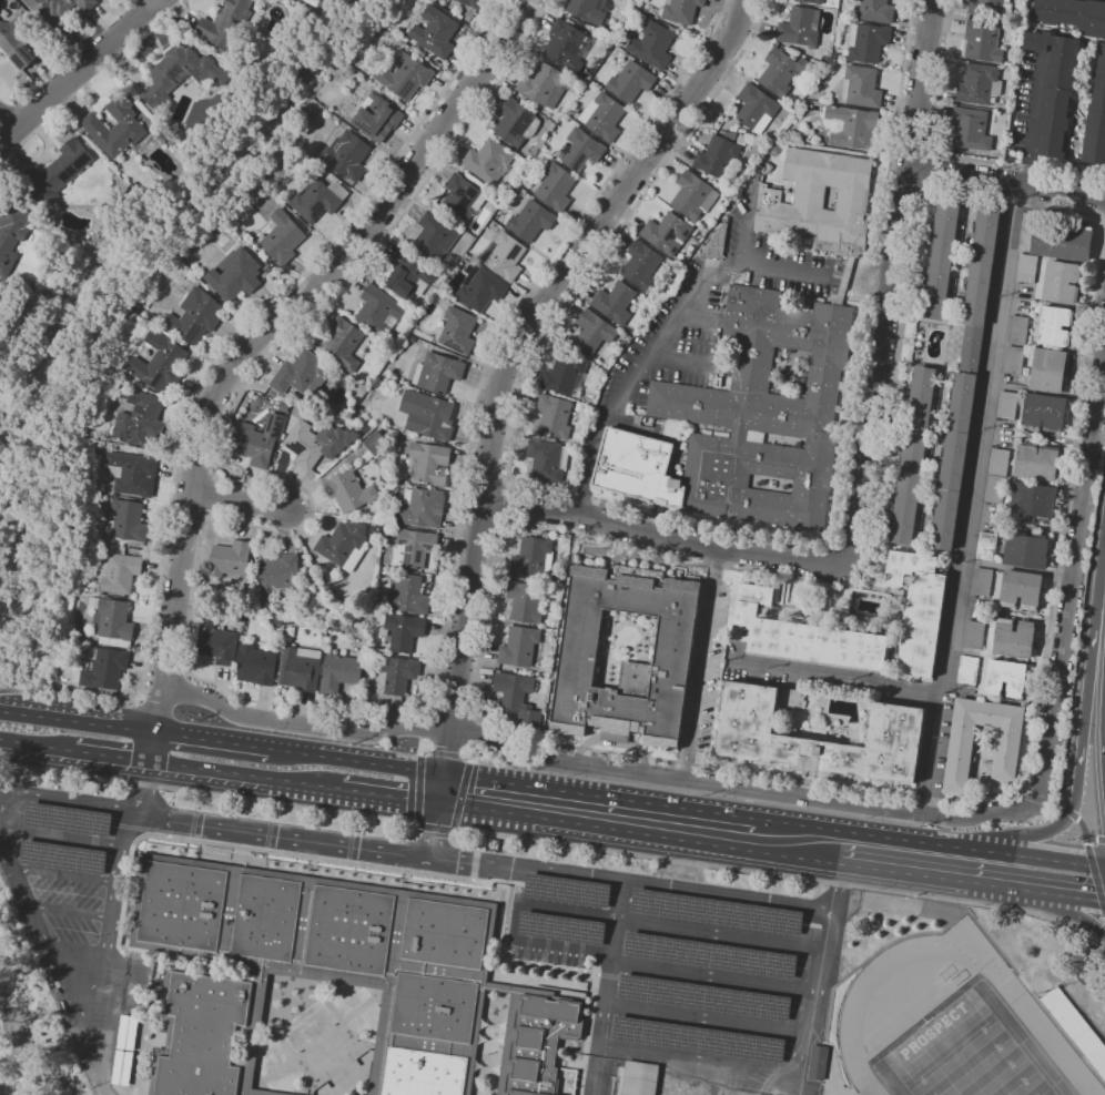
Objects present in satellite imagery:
building: (810, 1)
building: (473, 3)
building: (84, 4)
building: (43, 6)
building: (991, 7)
building: (587, 10)
building: (681, 10)
building: (876, 10)
building: (1073, 14)
building: (226, 24)
building: (800, 27)
building: (436, 32)
building: (983, 41)
building: (868, 42)
building: (17, 43)
building: (567, 44)
building: (653, 44)
rooftop solar panel: (572, 48)
rooftop solar panel: (27, 49)
rooftop solar panel: (32, 53)
rooftop solar panel: (29, 54)
rooftop solar panel: (561, 57)
rooftop solar panel: (20, 60)
rooftop solar panel: (174, 68)
road: (78, 71)
building: (783, 71)
building: (179, 72)
rooftop solar panel: (193, 73)
building: (405, 75)
rooftop solar panel: (180, 77)
building: (631, 82)
building: (980, 84)
building: (547, 85)
building: (863, 85)
rooftop solar panel: (408, 88)
building: (1056, 89)
rooftop solar panel: (149, 101)
building: (757, 108)
building: (604, 116)
building: (1096, 116)
building: (378, 118)
road: (1034, 120)
road: (9, 121)
building: (516, 123)
rooftop solar panel: (523, 124)
building: (852, 126)
building: (113, 129)
building: (971, 129)
building: (730, 134)
building: (741, 138)
road: (911, 148)
rooftop solar panel: (561, 150)
building: (580, 150)
road: (932, 151)
building: (347, 154)
road: (943, 154)
rooftop solar panel: (591, 155)
building: (717, 156)
rooftop solar panel: (577, 160)
building: (488, 161)
building: (60, 171)
road: (927, 171)
road: (1006, 182)
building: (556, 186)
road: (904, 189)
rooftop solar panel: (474, 191)
road: (925, 193)
building: (693, 195)
building: (462, 199)
building: (316, 201)
rooftop solar panel: (467, 202)
building: (821, 204)
rooftop solar panel: (316, 209)
building: (531, 221)
building: (11, 229)
building: (667, 233)
rooftop solar panel: (685, 233)
rooftop solar panel: (669, 235)
building: (435, 236)
building: (281, 239)
building: (1055, 240)
building: (717, 243)
road: (744, 244)
rooftop solar panel: (672, 250)
building: (504, 255)
building: (941, 260)
building: (641, 264)
building: (1026, 267)
building: (412, 273)
building: (235, 275)
road: (892, 278)
building: (1062, 282)
rooftop solar panel: (422, 283)
building: (480, 287)
building: (615, 302)
building: (379, 310)
building: (195, 316)
road: (250, 317)
rooftop solar panel: (392, 320)
building: (1056, 326)
building: (458, 329)
building: (1017, 329)
building: (595, 332)
rooftop solar panel: (192, 333)
road: (662, 334)
rooftop solar panel: (154, 341)
road: (253, 341)
building: (344, 344)
building: (1013, 359)
building: (160, 363)
road: (505, 366)
building: (1050, 371)
building: (438, 373)
building: (302, 374)
building: (566, 375)
building: (965, 378)
building: (1007, 378)
rooftop solar panel: (158, 379)
building: (274, 393)
rooftop solar panel: (131, 401)
building: (1006, 405)
rooftop solar panel: (140, 409)
building: (1044, 412)
building: (428, 414)
building: (557, 416)
building: (140, 417)
building: (746, 422)
building: (258, 440)
building: (305, 444)
building: (377, 444)
road: (194, 455)
building: (913, 456)
building: (548, 460)
building: (430, 462)
building: (1036, 462)
building: (133, 473)
building: (996, 476)
road: (214, 477)
road: (486, 478)
road: (506, 483)
building: (349, 490)
road: (965, 497)
road: (209, 498)
building: (1033, 500)
road: (239, 501)
road: (500, 504)
building: (422, 507)
road: (660, 517)
road: (209, 520)
building: (126, 521)
road: (479, 521)
road: (186, 523)
building: (376, 529)
road: (663, 536)
rooftop solar panel: (402, 541)
building: (344, 545)
rooftop solar panel: (426, 546)
building: (986, 546)
building: (414, 548)
building: (1026, 550)
rooftop solar panel: (417, 556)
building: (534, 557)
rooftop solar panel: (406, 558)
building: (230, 559)
road: (870, 568)
building: (118, 572)
building: (280, 577)
road: (1073, 580)
building: (981, 581)
building: (1021, 589)
building: (407, 595)
building: (525, 601)
building: (919, 609)
building: (111, 621)
building: (404, 631)
building: (804, 635)
building: (974, 635)
building: (1014, 638)
building: (217, 643)
building: (519, 646)
building: (579, 657)
road: (699, 662)
building: (256, 666)
building: (104, 668)
building: (301, 668)
road: (166, 670)
building: (967, 670)
building: (339, 672)
building: (396, 673)
building: (1006, 677)
road: (833, 679)
road: (17, 685)
road: (215, 685)
road: (85, 693)
building: (795, 696)
building: (517, 697)
road: (18, 710)
road: (425, 711)
road: (452, 718)
road: (478, 720)
road: (95, 721)
building: (790, 721)
building: (898, 721)
road: (425, 724)
road: (474, 733)
road: (214, 739)
building: (1007, 742)
road: (16, 743)
road: (422, 746)
road: (53, 748)
road: (427, 751)
road: (469, 753)
road: (446, 754)
road: (112, 757)
road: (464, 757)
road: (358, 760)
road: (1077, 766)
road: (598, 768)
traffic signals: (444, 773)
road: (246, 775)
road: (146, 788)
road: (417, 790)
road: (1024, 793)
road: (392, 794)
road: (597, 794)
road: (462, 795)
road: (1042, 800)
traffic signals: (440, 802)
road: (71, 803)
road: (1061, 807)
road: (1071, 812)
building: (68, 820)
rooftop solar panel: (67, 821)
road: (433, 827)
road: (1085, 831)
road: (640, 832)
road: (287, 835)
road: (60, 837)
road: (1093, 838)
road: (1102, 839)
road: (927, 841)
flagpole: (255, 854)
building: (61, 856)
rooftop solar panel: (62, 858)
parking lot: (62, 865)
road: (63, 874)
road: (775, 874)
road: (1096, 880)
road: (973, 882)
rooftop solar panel: (538, 884)
road: (630, 884)
building: (566, 890)
rooftop solar panel: (564, 893)
building: (660, 903)
building: (183, 905)
road: (111, 909)
road: (69, 911)
rooftop solar panel: (709, 911)
building: (716, 911)
road: (1077, 913)
building: (267, 917)
building: (772, 919)
road: (513, 921)
rooftop solar panel: (533, 924)
rooftop solar panel: (561, 925)
building: (560, 929)
building: (349, 930)
road: (1099, 931)
building: (446, 933)
road: (721, 935)
building: (653, 946)
rooftop solar panel: (709, 954)
building: (710, 955)
road: (54, 962)
building: (767, 963)
road: (714, 976)
parking lot: (687, 984)
road: (607, 988)
building: (647, 988)
rooftop solar panel: (700, 996)
building: (703, 996)
track: (1020, 1001)
building: (760, 1004)
building: (435, 1007)
track: (900, 1008)
track: (908, 1017)
road: (706, 1020)
building: (1075, 1028)
building: (641, 1031)
building: (126, 1032)
building: (204, 1034)
building: (698, 1038)
building: (541, 1042)
rooftop solar panel: (700, 1042)
building: (754, 1046)
road: (94, 1051)
park: (970, 1053)
park: (965, 1055)
building: (817, 1062)
building: (121, 1067)
road: (778, 1072)
building: (424, 1073)
rooftop solar panel: (636, 1073)
building: (638, 1078)
rooftop solar panel: (638, 1089)
building: (271, 1093)

